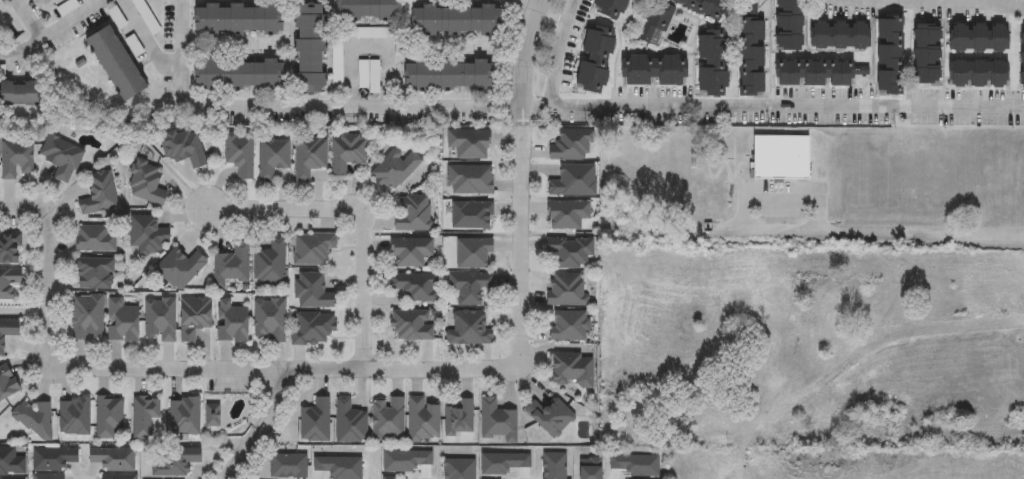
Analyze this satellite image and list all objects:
road: (968, 2)
road: (526, 4)
building: (610, 6)
building: (706, 7)
building: (368, 9)
building: (146, 16)
road: (31, 18)
building: (236, 18)
building: (455, 20)
building: (654, 21)
building: (789, 24)
road: (52, 31)
building: (378, 33)
building: (841, 33)
building: (980, 35)
road: (148, 40)
road: (368, 45)
building: (308, 47)
building: (927, 51)
road: (560, 52)
road: (526, 53)
building: (890, 54)
building: (751, 56)
building: (595, 57)
building: (1022, 58)
building: (713, 61)
building: (118, 64)
building: (338, 65)
building: (653, 69)
building: (818, 71)
building: (981, 71)
building: (237, 73)
building: (446, 74)
building: (369, 76)
building: (20, 93)
road: (302, 105)
road: (773, 107)
road: (522, 122)
building: (471, 144)
building: (572, 146)
building: (185, 148)
building: (347, 152)
building: (241, 153)
building: (63, 157)
building: (273, 157)
building: (310, 157)
building: (783, 157)
building: (18, 158)
building: (396, 169)
building: (472, 180)
building: (574, 182)
building: (148, 183)
building: (100, 194)
road: (363, 213)
building: (414, 213)
building: (568, 214)
building: (473, 215)
road: (884, 229)
building: (147, 235)
building: (96, 239)
building: (10, 249)
building: (314, 249)
building: (412, 252)
building: (572, 253)
building: (475, 254)
building: (271, 262)
building: (233, 266)
building: (181, 268)
building: (96, 274)
building: (9, 283)
building: (415, 287)
building: (470, 287)
building: (566, 290)
building: (314, 292)
road: (26, 311)
building: (831, 315)
building: (88, 317)
building: (195, 317)
building: (161, 319)
building: (271, 320)
building: (123, 321)
building: (234, 321)
building: (413, 326)
building: (568, 326)
building: (313, 328)
building: (470, 328)
building: (8, 332)
road: (887, 341)
building: (777, 346)
road: (508, 365)
road: (64, 368)
building: (573, 371)
building: (779, 382)
building: (8, 383)
building: (213, 415)
building: (74, 416)
building: (146, 416)
building: (185, 416)
building: (552, 416)
building: (718, 416)
building: (32, 418)
building: (110, 418)
building: (389, 419)
building: (460, 419)
building: (424, 420)
building: (499, 421)
building: (316, 422)
building: (351, 422)
road: (261, 428)
building: (859, 428)
building: (114, 458)
building: (55, 459)
building: (12, 461)
building: (175, 462)
building: (49, 476)
building: (120, 476)
building: (395, 478)

